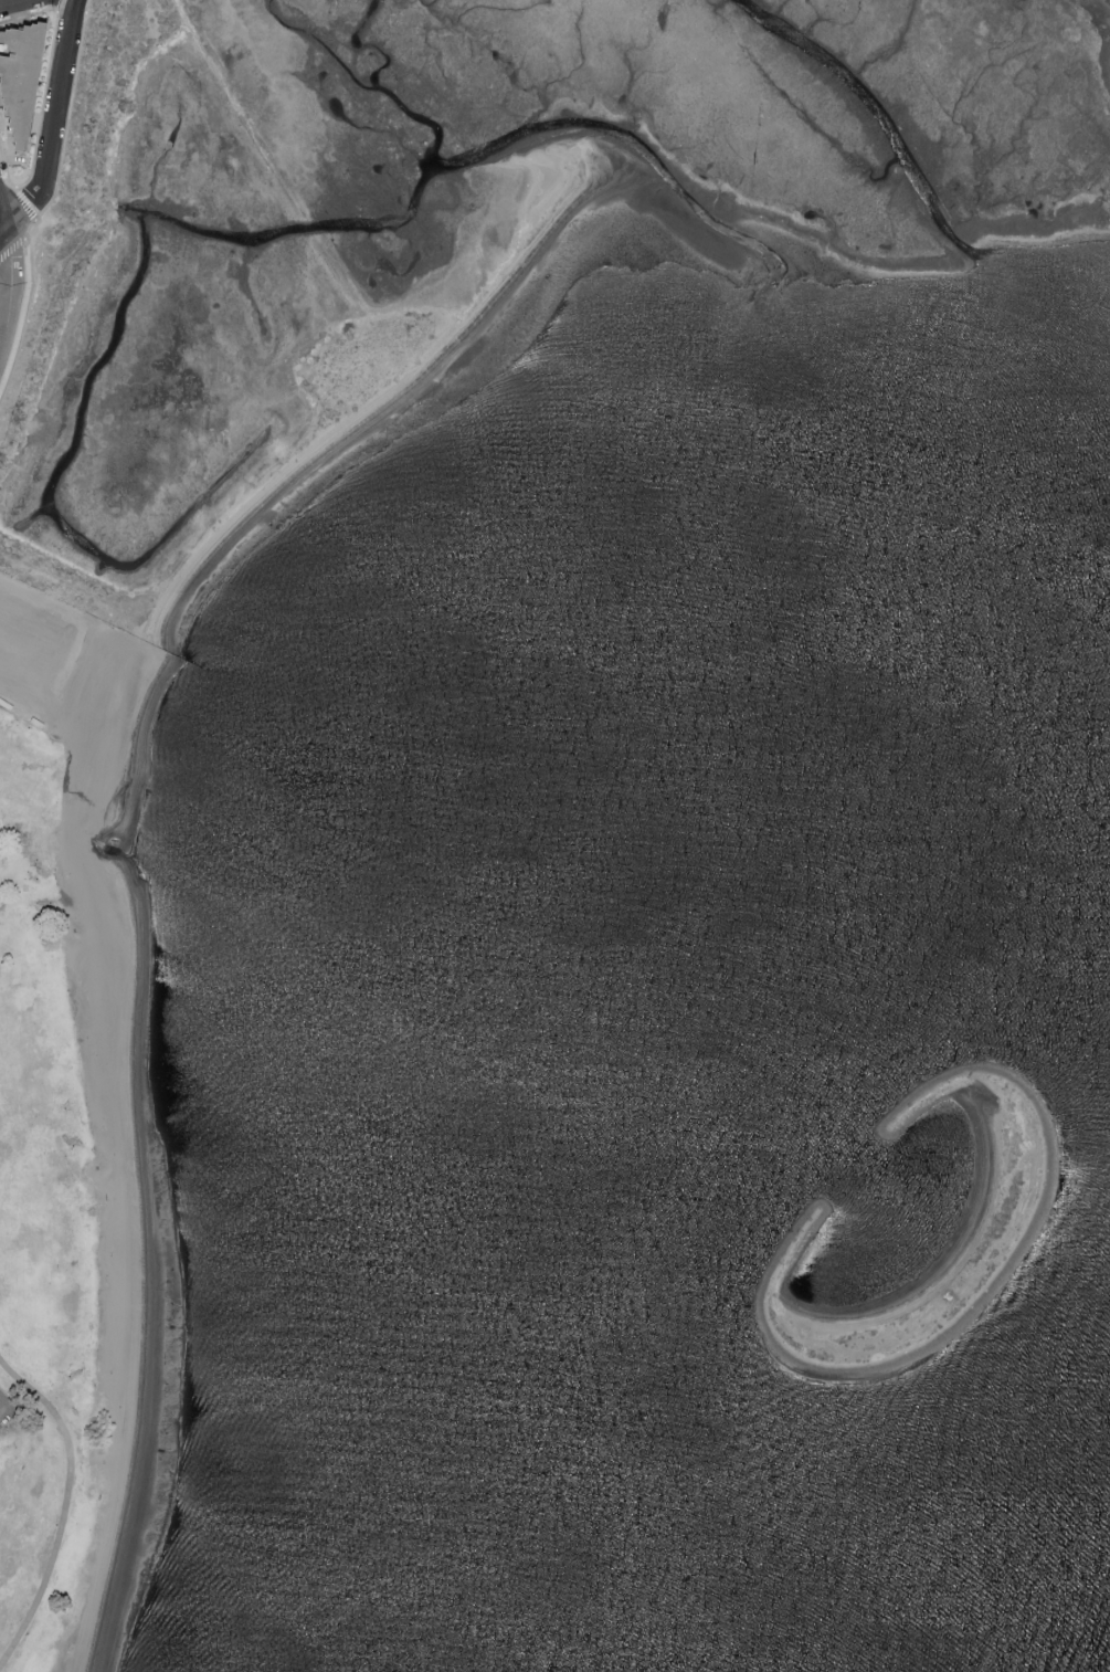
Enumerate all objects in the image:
road: (14, 3)
building: (17, 78)
road: (53, 125)
road: (10, 290)
park: (43, 1224)
road: (3, 1407)
parking lot: (8, 1410)
road: (67, 1508)

